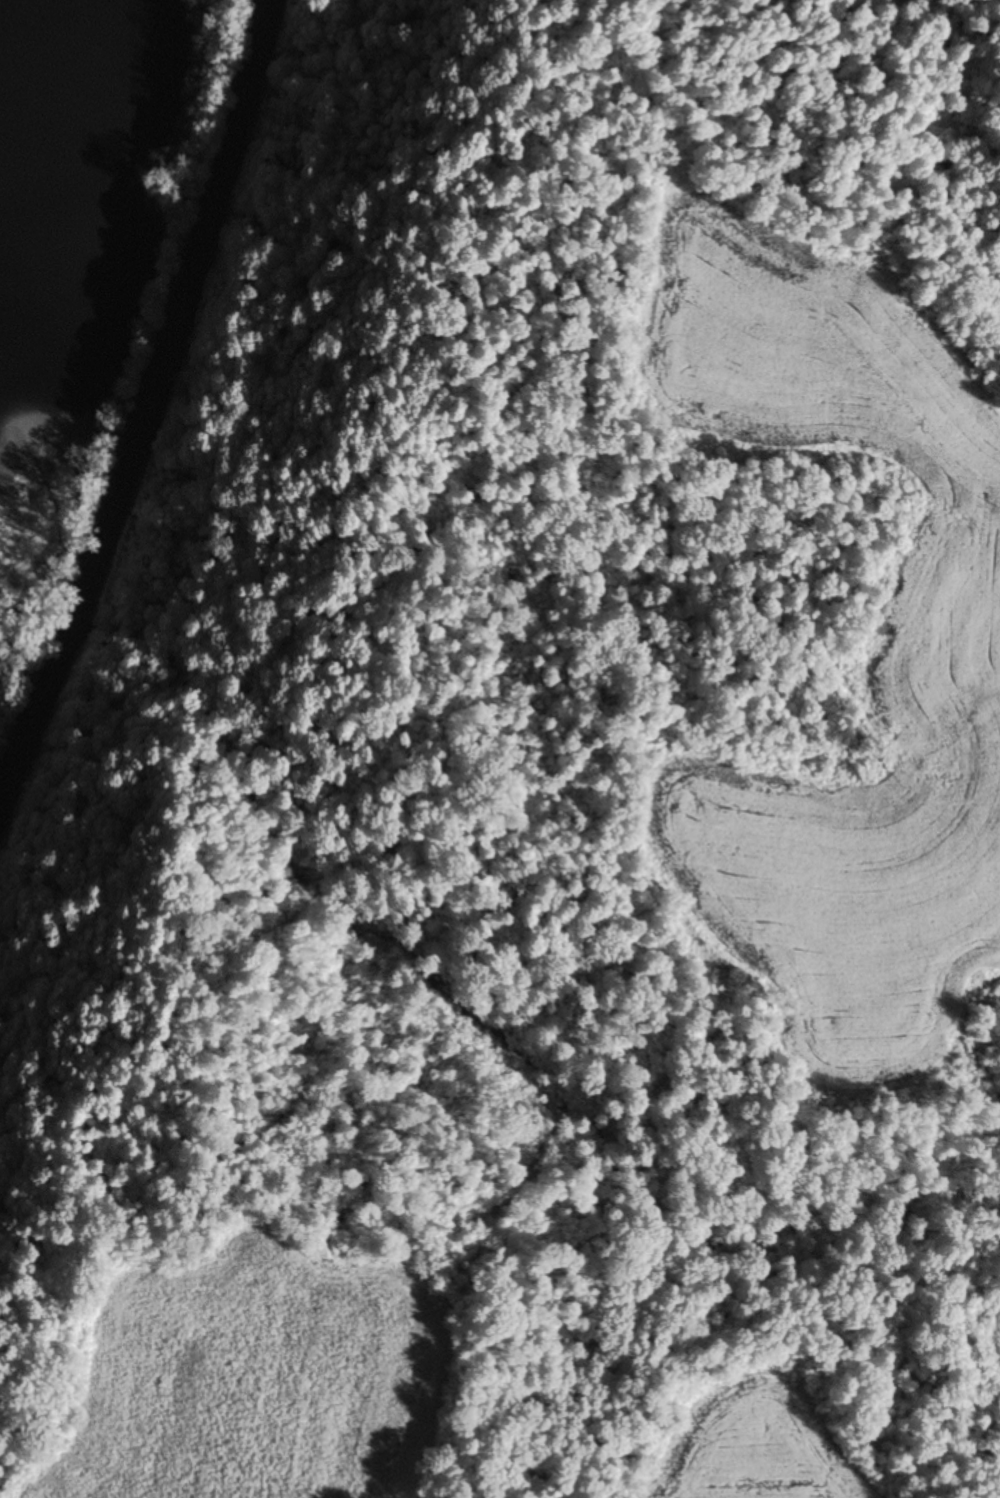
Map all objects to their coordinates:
railway: (150, 399)
railway: (156, 415)

